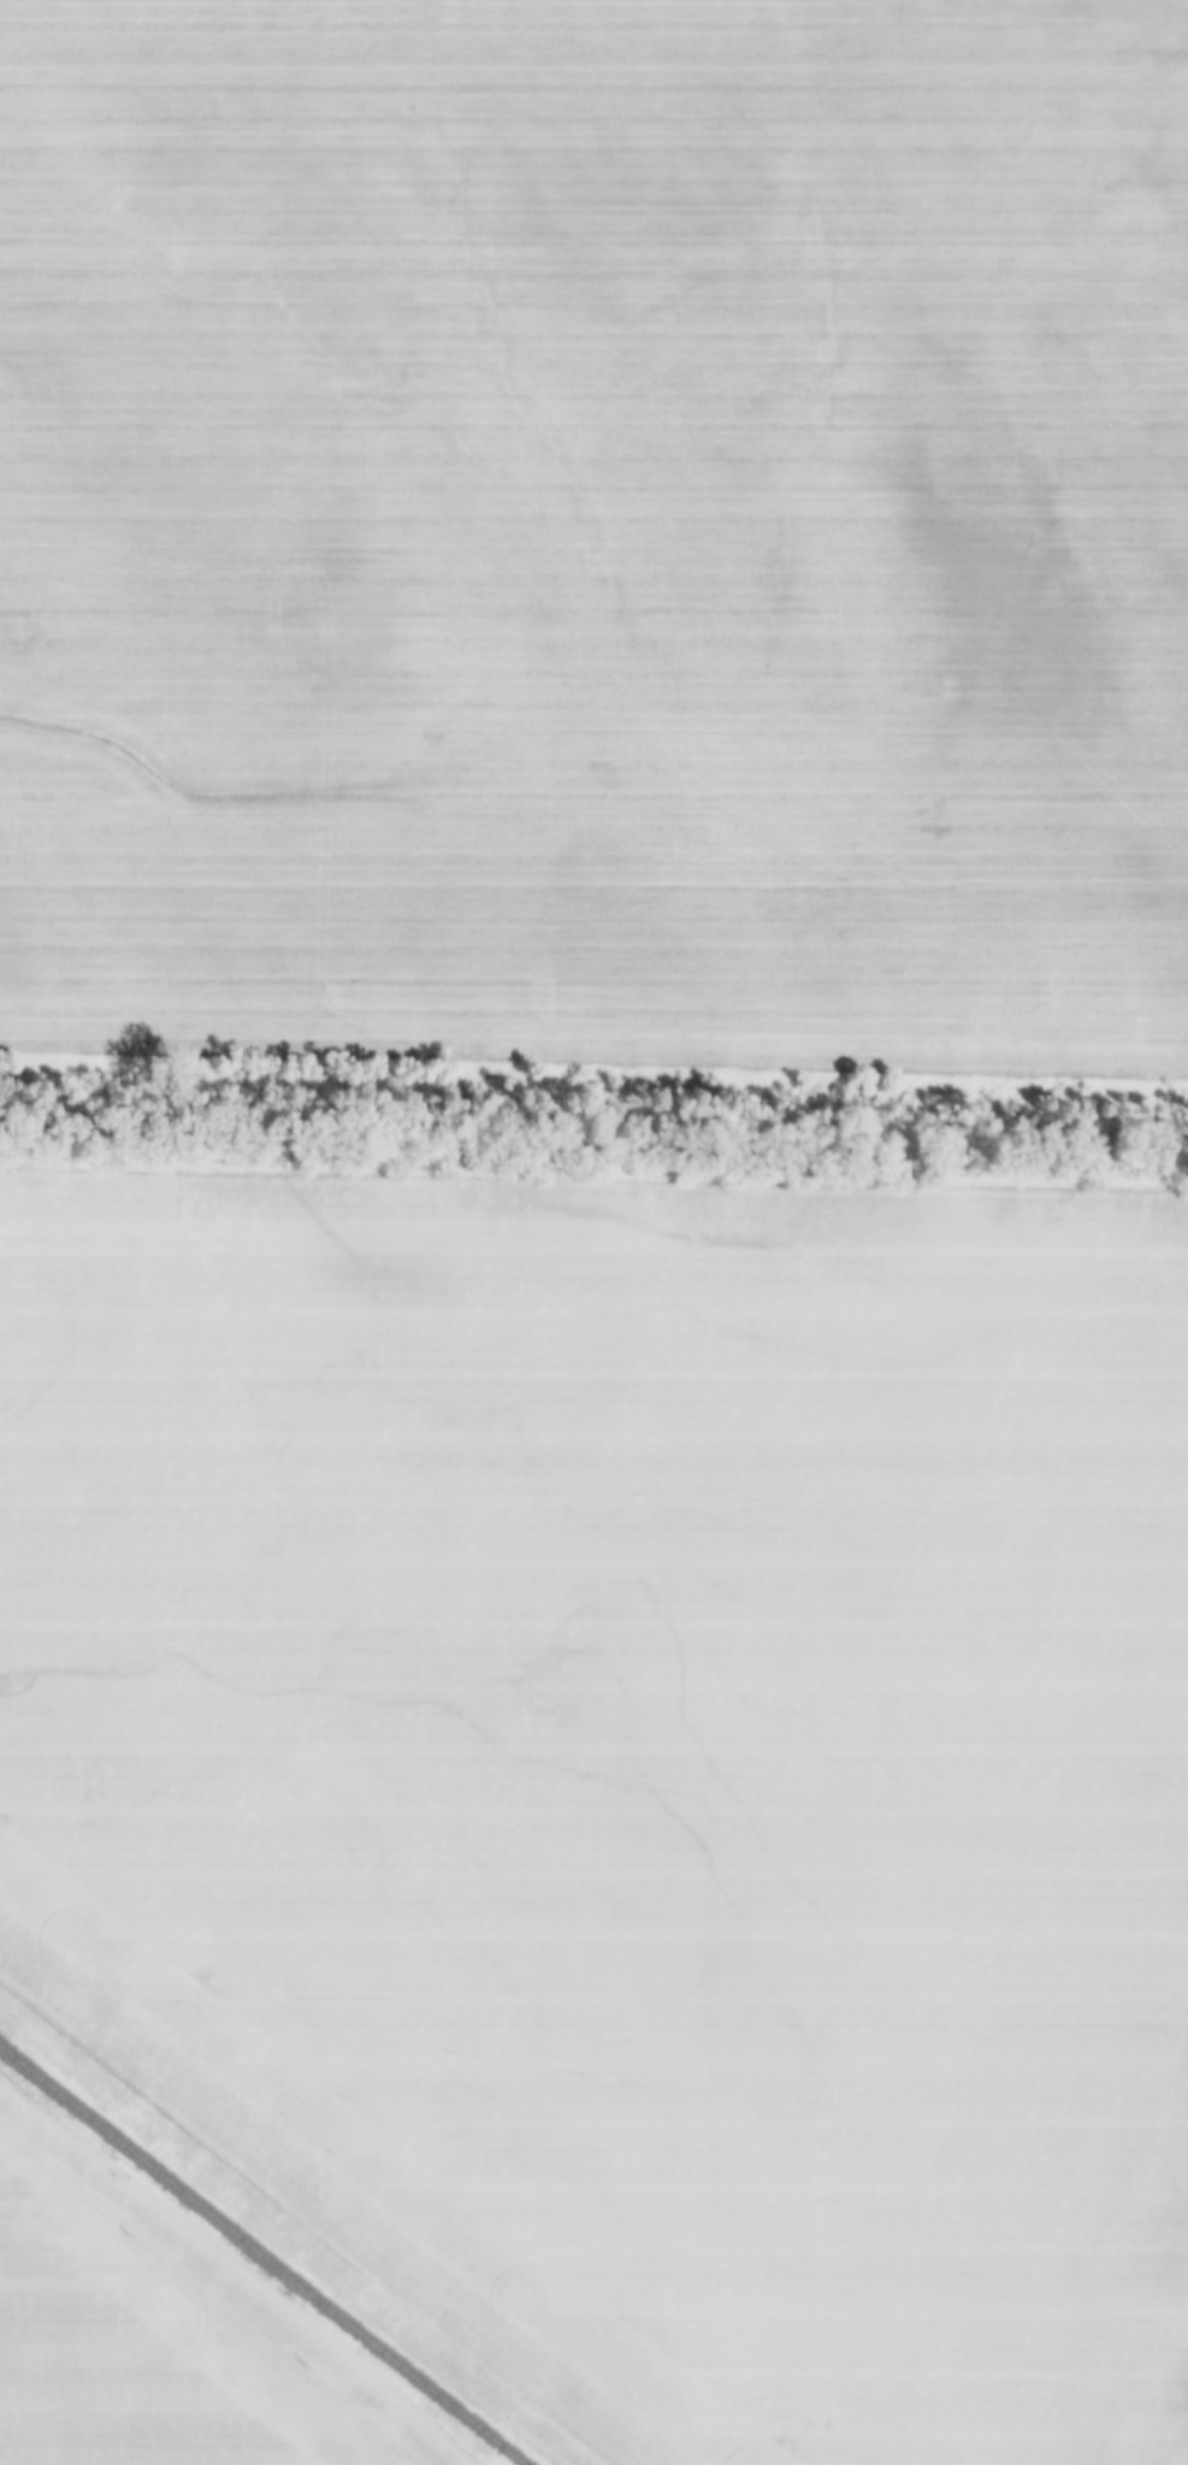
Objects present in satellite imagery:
railway: (264, 2253)

